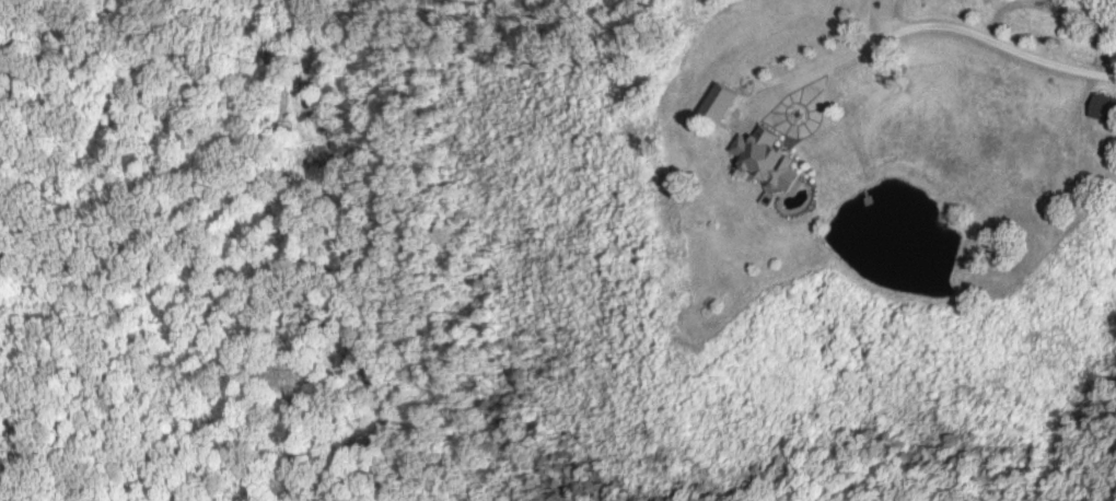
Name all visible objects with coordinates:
road: (943, 22)
building: (1103, 109)
building: (765, 159)

